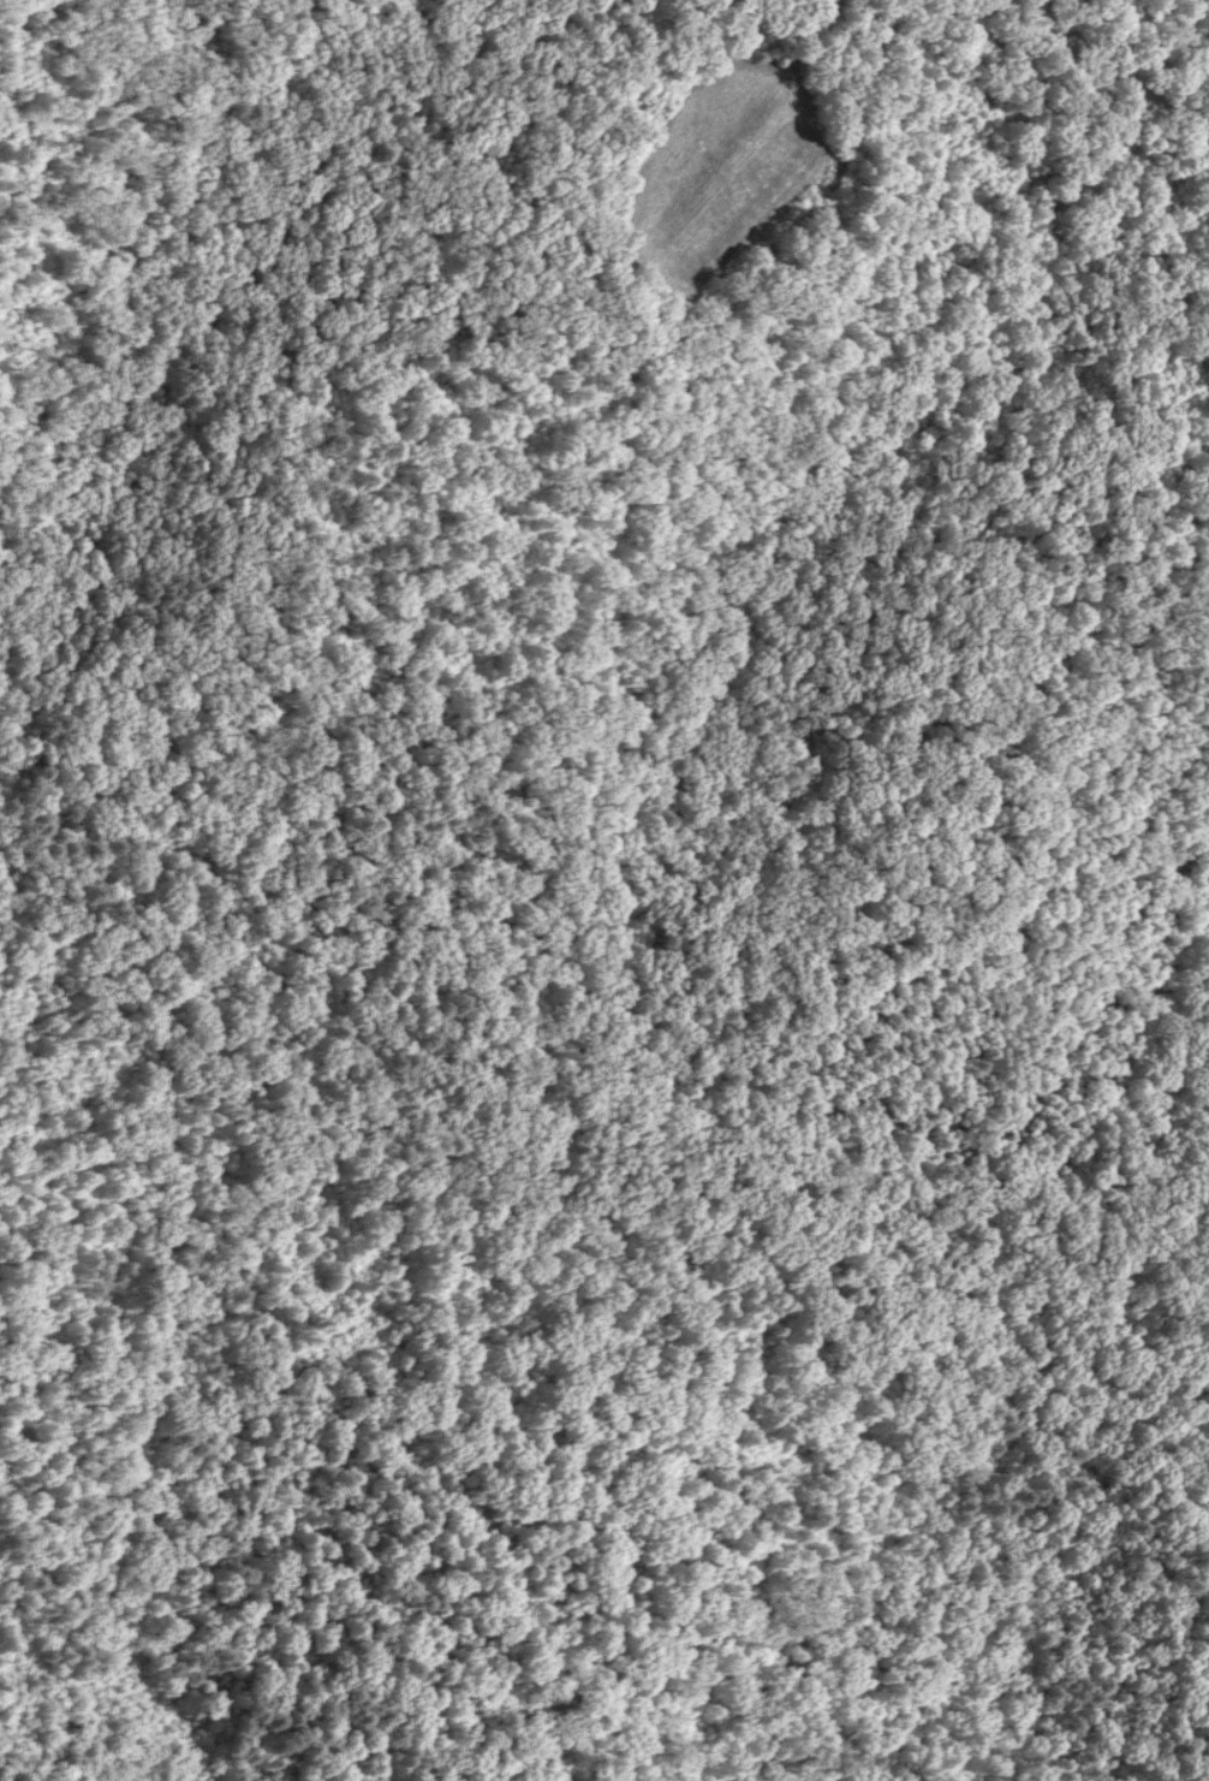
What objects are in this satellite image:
road: (1109, 71)

